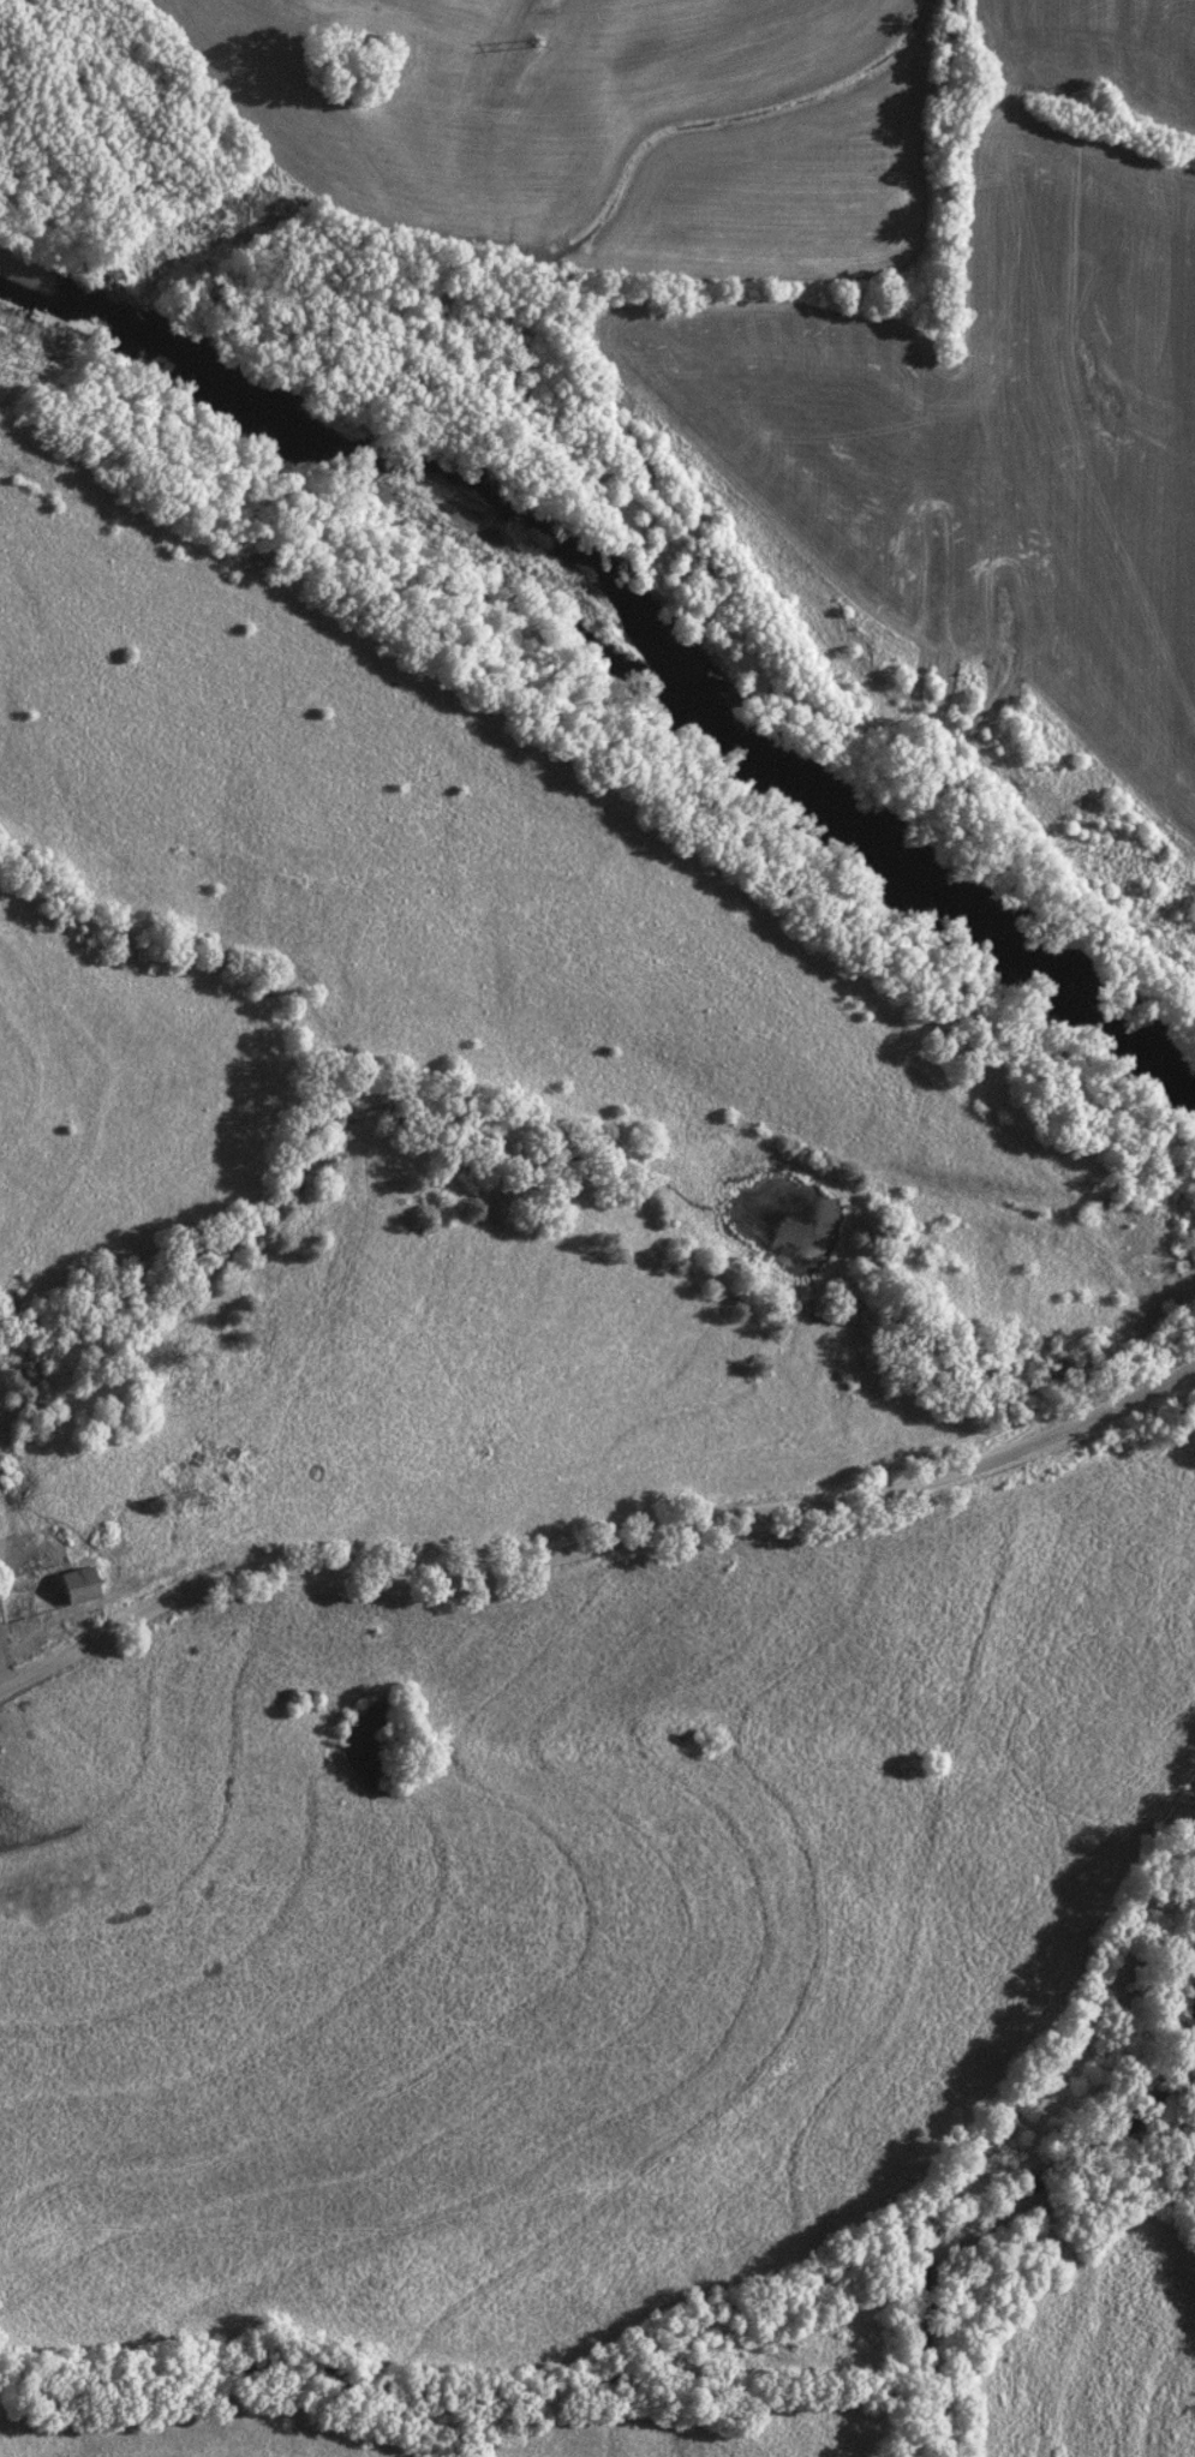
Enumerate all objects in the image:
crop: (598, 126)
river: (643, 617)
road: (597, 1547)
building: (76, 1588)

